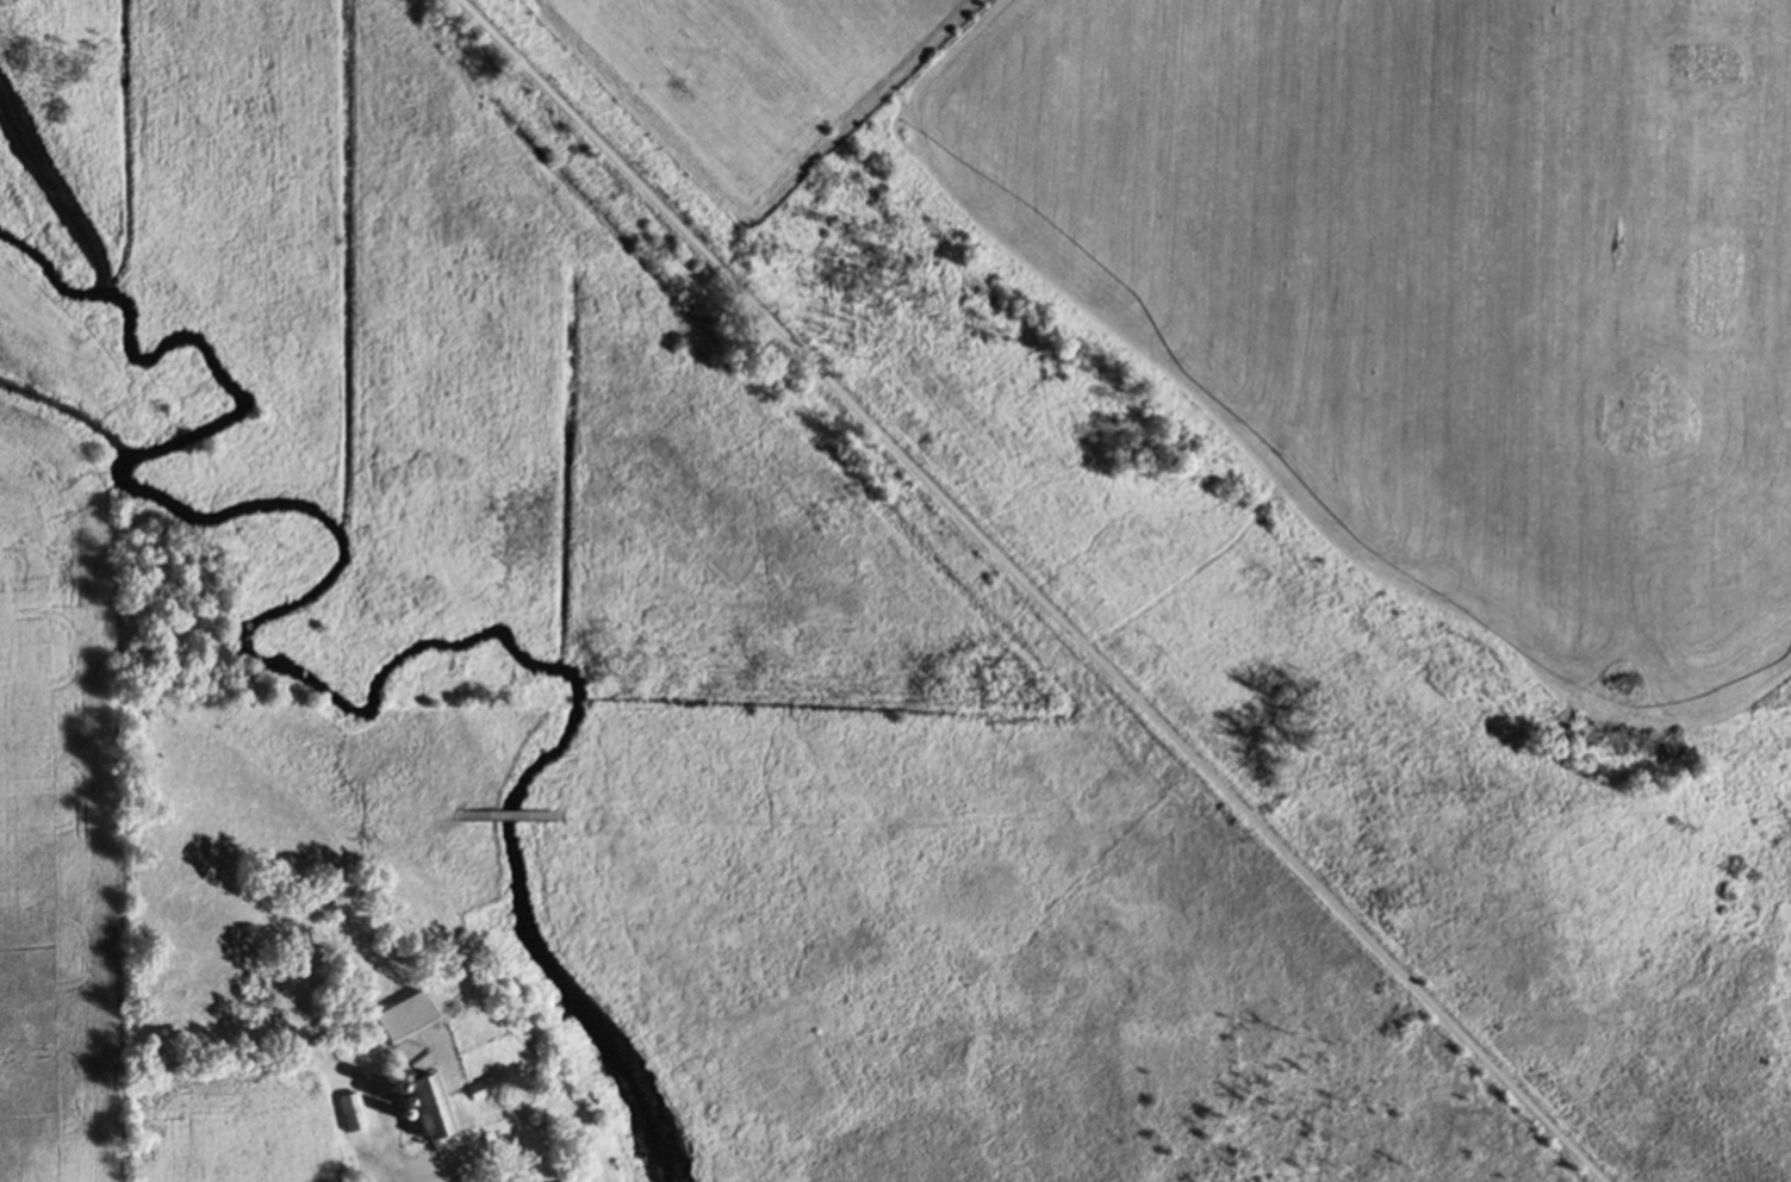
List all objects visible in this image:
road: (1030, 590)
crop: (89, 827)
building: (400, 1018)
building: (481, 1087)
building: (421, 1109)
building: (349, 1111)
road: (411, 1172)

